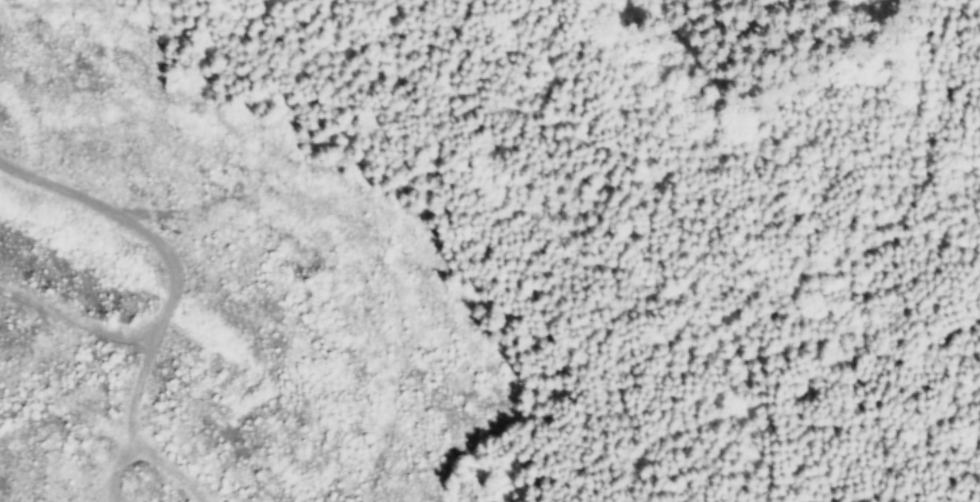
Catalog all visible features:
road: (831, 14)

